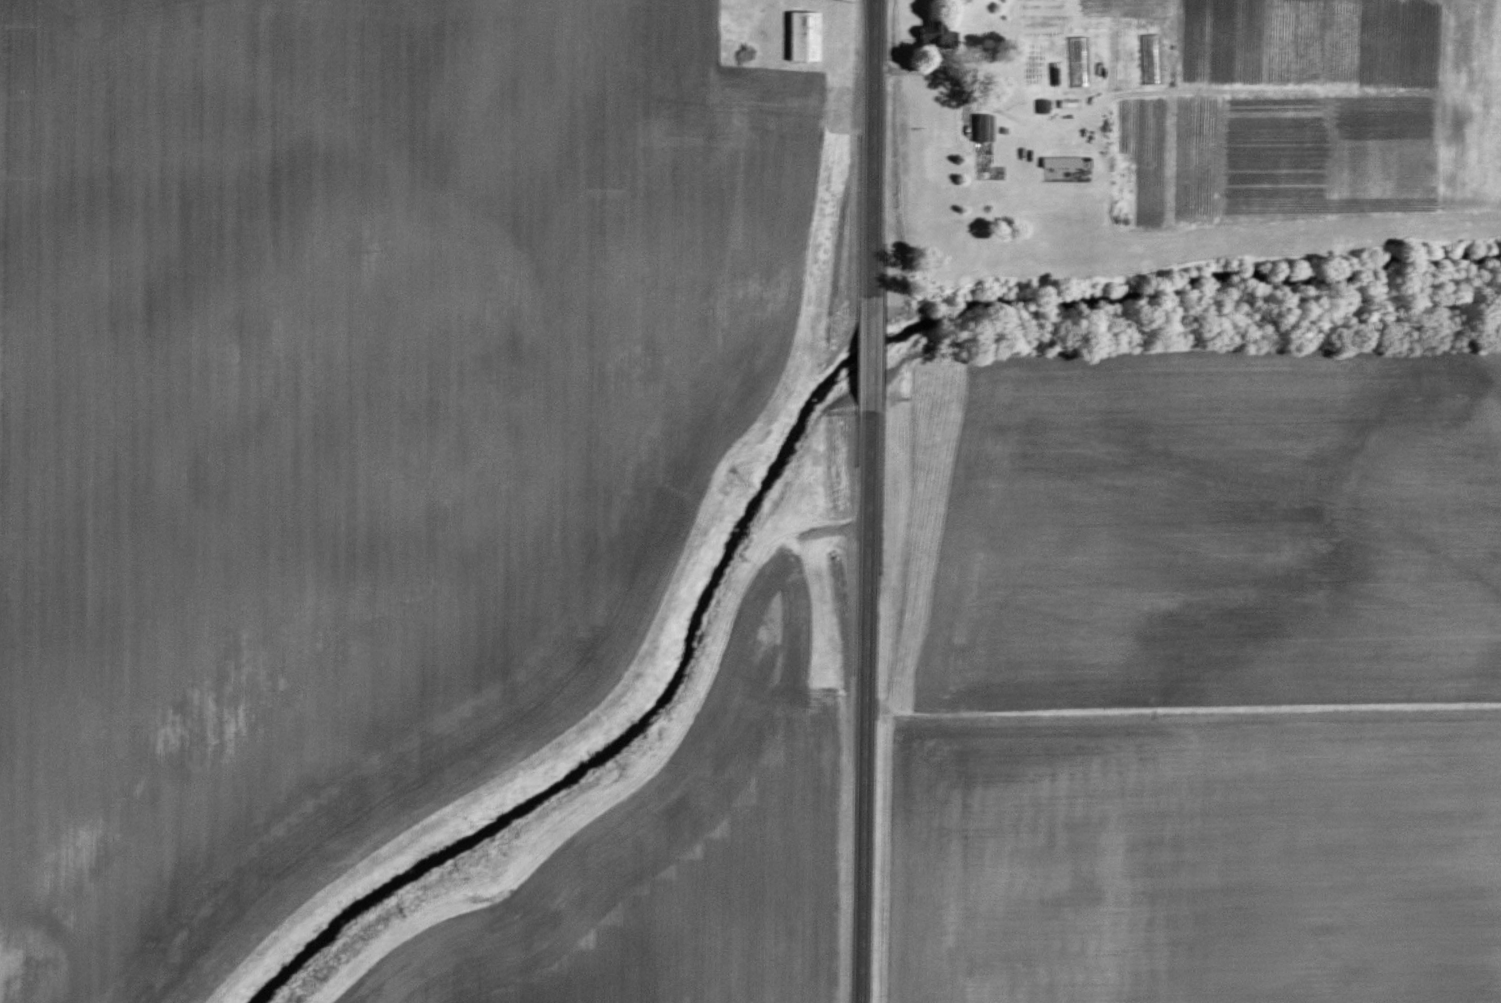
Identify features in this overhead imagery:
building: (935, 34)
building: (802, 35)
building: (1042, 105)
building: (983, 126)
road: (878, 152)
building: (1061, 161)
road: (879, 363)
road: (875, 712)

